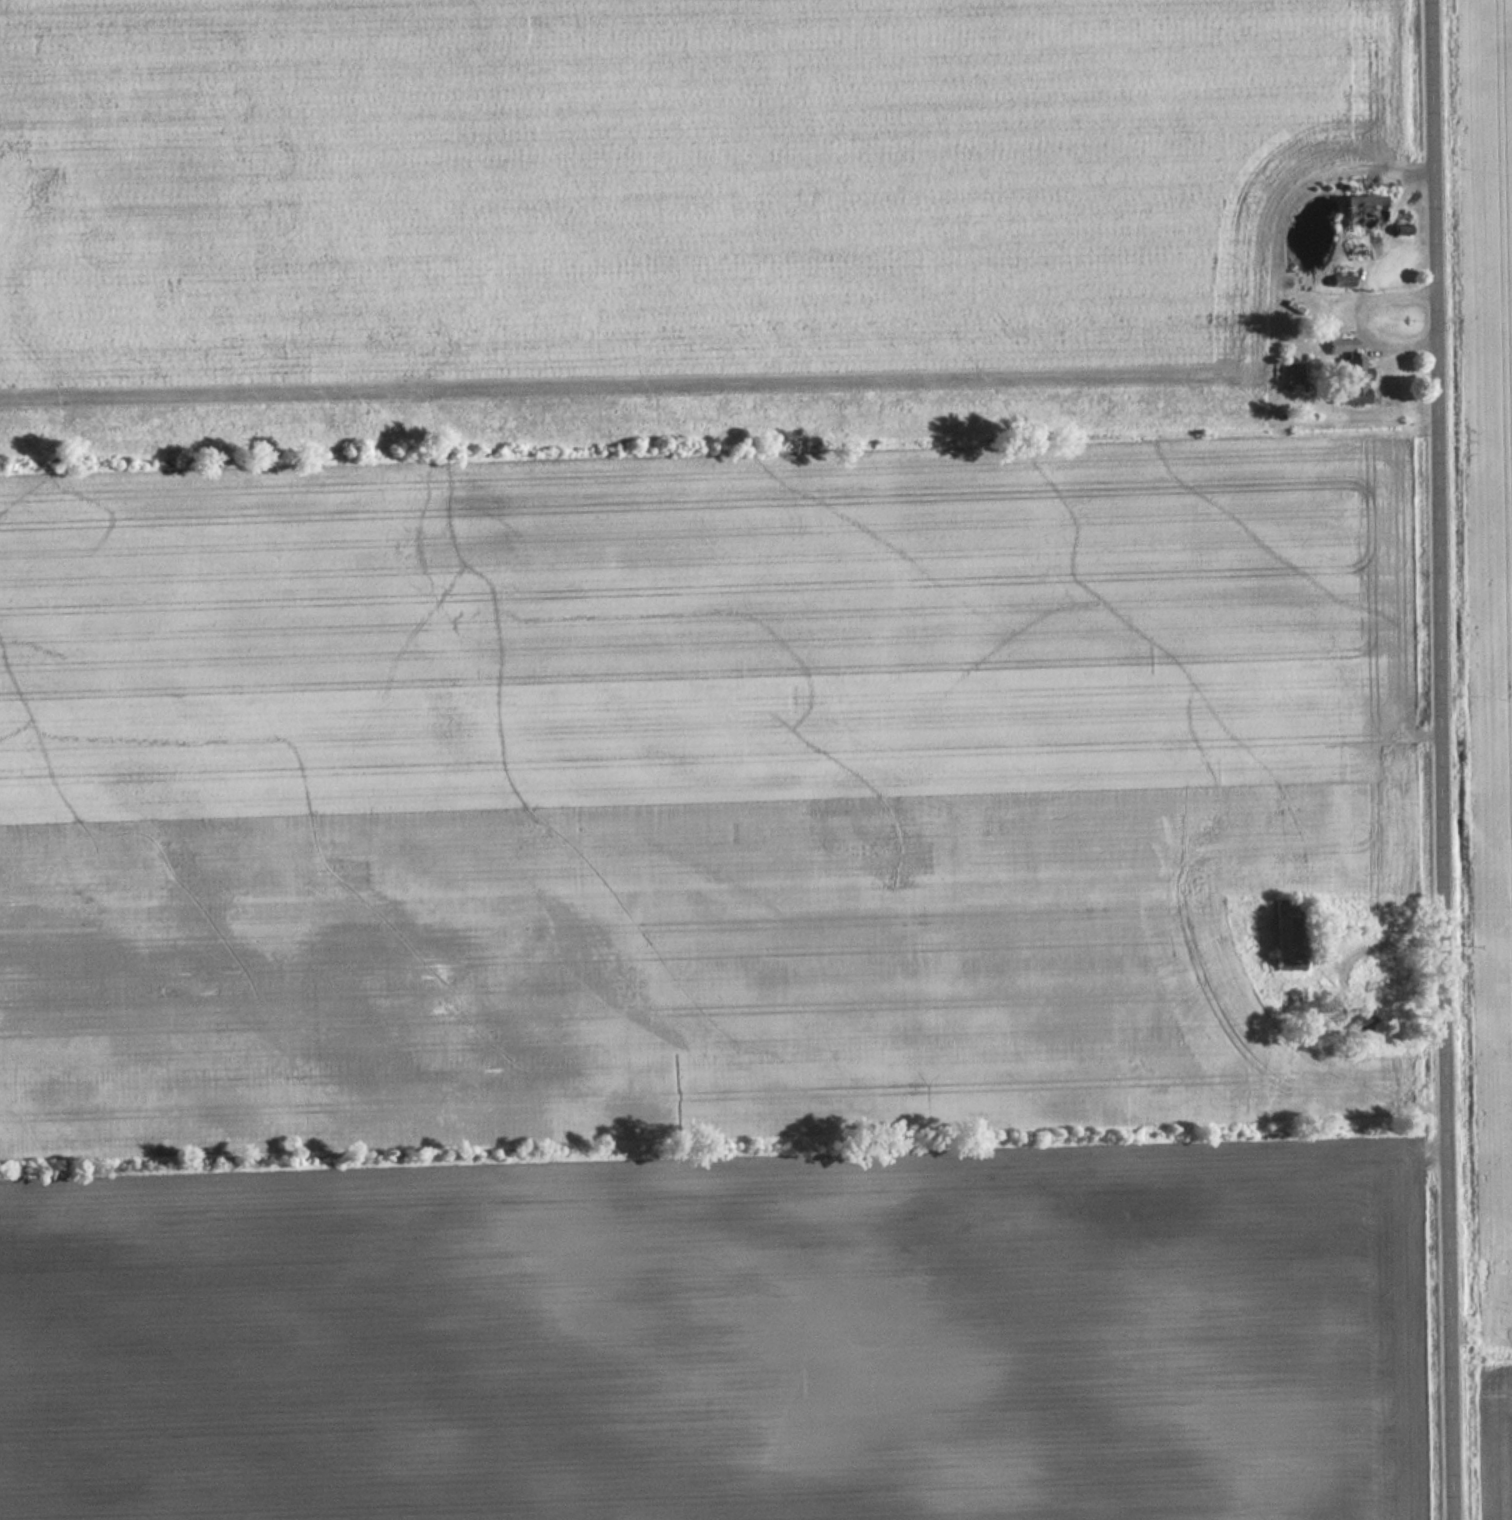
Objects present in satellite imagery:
building: (1366, 213)
building: (1351, 382)
road: (1446, 759)
building: (1288, 942)
building: (1368, 1022)

